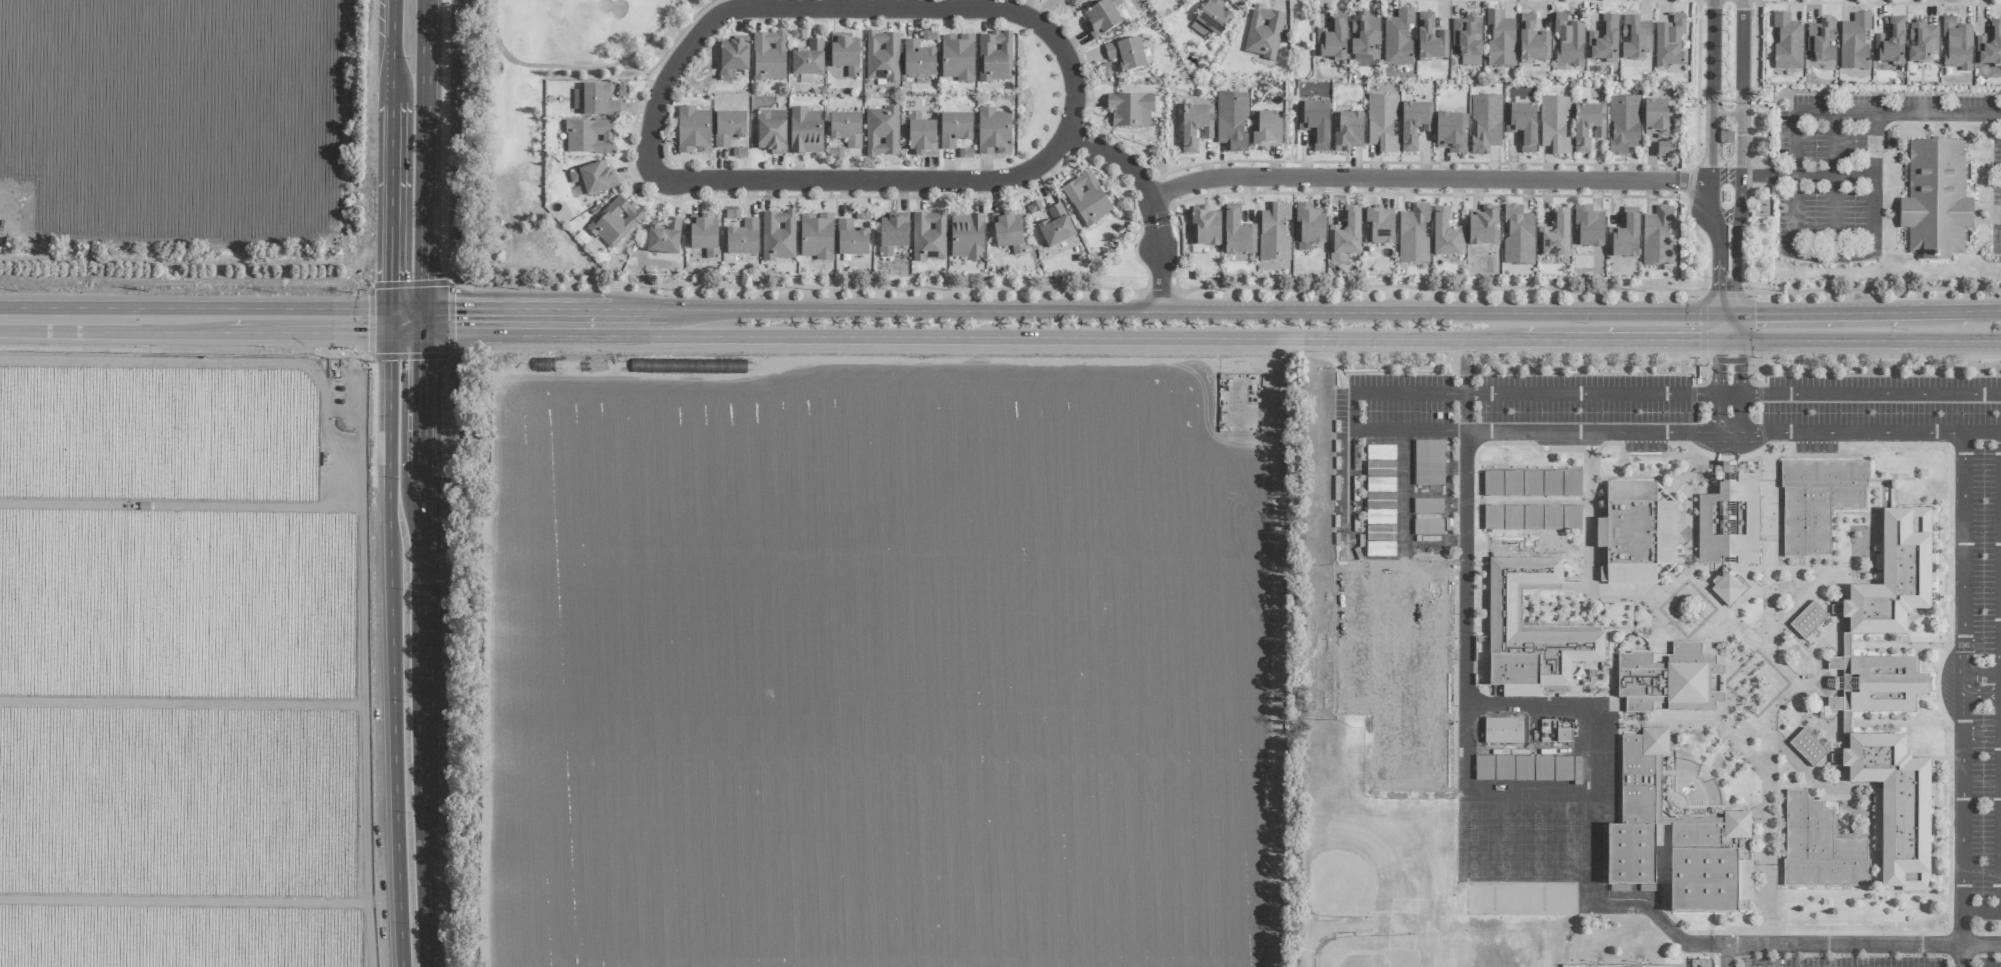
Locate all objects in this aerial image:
road: (850, 0)
road: (856, 1)
building: (1075, 2)
building: (1102, 18)
building: (1212, 19)
building: (1264, 33)
building: (797, 35)
park: (573, 37)
building: (1364, 38)
building: (1398, 38)
building: (1431, 38)
building: (1333, 39)
building: (1468, 39)
building: (1605, 39)
building: (1635, 39)
building: (1501, 40)
building: (1822, 40)
building: (1532, 41)
building: (1568, 41)
building: (1670, 41)
building: (1921, 41)
building: (1788, 42)
building: (1855, 42)
building: (1890, 43)
building: (1956, 45)
building: (1989, 46)
road: (395, 51)
building: (845, 53)
building: (1126, 54)
building: (769, 56)
building: (882, 56)
building: (733, 57)
building: (958, 57)
building: (994, 57)
building: (918, 60)
building: (808, 62)
road: (575, 67)
building: (1106, 71)
road: (1742, 87)
building: (622, 90)
road: (1713, 91)
building: (595, 100)
building: (1130, 110)
road: (1874, 110)
building: (1232, 121)
building: (1382, 123)
building: (1315, 124)
building: (1413, 124)
building: (1485, 124)
building: (1555, 124)
building: (1623, 124)
building: (1522, 126)
building: (1587, 126)
building: (729, 127)
building: (1194, 128)
building: (846, 129)
building: (955, 129)
building: (1265, 129)
building: (1657, 130)
building: (693, 131)
building: (771, 131)
building: (806, 131)
building: (1347, 131)
building: (882, 132)
building: (994, 132)
building: (1450, 132)
building: (921, 135)
building: (589, 136)
road: (444, 153)
building: (834, 153)
building: (965, 154)
road: (424, 164)
parking lot: (1856, 166)
road: (1834, 168)
road: (1826, 173)
road: (1759, 174)
building: (594, 177)
road: (1430, 179)
road: (870, 182)
road: (1741, 189)
building: (1086, 198)
building: (1936, 199)
road: (1153, 202)
building: (1034, 208)
road: (395, 212)
building: (732, 214)
building: (614, 221)
building: (1482, 226)
building: (1055, 227)
building: (1204, 227)
building: (1307, 227)
building: (1378, 227)
building: (1587, 228)
building: (1008, 232)
building: (1237, 232)
building: (893, 233)
building: (1273, 233)
building: (704, 234)
building: (1413, 234)
building: (1445, 234)
building: (778, 235)
building: (1554, 235)
building: (1625, 235)
building: (817, 236)
building: (929, 236)
building: (1344, 236)
building: (1517, 236)
building: (664, 237)
building: (967, 237)
building: (1657, 237)
building: (743, 238)
building: (851, 239)
road: (1719, 248)
road: (1873, 252)
road: (1736, 259)
road: (1225, 286)
traffic signals: (1719, 299)
road: (520, 307)
road: (1173, 310)
road: (1995, 310)
road: (1858, 312)
traffic signals: (1754, 313)
road: (408, 314)
road: (197, 319)
road: (408, 324)
road: (1727, 326)
road: (967, 333)
road: (1620, 338)
traffic signals: (1700, 339)
road: (1864, 339)
traffic signals: (1728, 362)
road: (1466, 364)
road: (1728, 383)
road: (1733, 391)
road: (1466, 409)
road: (1354, 410)
road: (1885, 429)
road: (1982, 430)
building: (1429, 463)
building: (1728, 473)
building: (1532, 484)
building: (1662, 496)
building: (1817, 501)
building: (1604, 508)
road: (1591, 510)
building: (1493, 517)
building: (1729, 522)
building: (1636, 534)
building: (1604, 557)
building: (1728, 567)
building: (1662, 571)
building: (1894, 577)
building: (1727, 586)
crop: (585, 595)
park: (1353, 602)
park: (1390, 602)
park: (1428, 602)
building: (1518, 609)
building: (1808, 620)
building: (1530, 633)
road: (395, 644)
road: (421, 647)
road: (1736, 658)
building: (1659, 659)
road: (2000, 661)
building: (1834, 663)
park: (1353, 676)
park: (1390, 677)
park: (1427, 677)
building: (1669, 680)
road: (1982, 683)
building: (1885, 684)
building: (1845, 687)
road: (2000, 703)
building: (1834, 704)
building: (1659, 707)
building: (1503, 731)
building: (1554, 732)
building: (1808, 747)
park: (1390, 751)
park: (1427, 751)
building: (1503, 767)
building: (1523, 767)
building: (1484, 768)
building: (1543, 768)
building: (1563, 768)
building: (1577, 771)
building: (1657, 779)
road: (1594, 794)
building: (1896, 805)
building: (1471, 810)
building: (1636, 810)
park: (1504, 814)
park: (1536, 814)
park: (1569, 814)
building: (1859, 814)
road: (2000, 817)
building: (1471, 826)
building: (1471, 842)
building: (1819, 847)
park: (1504, 852)
park: (1536, 853)
park: (1569, 853)
road: (1962, 857)
building: (1471, 858)
building: (1711, 865)
building: (1470, 874)
park: (1520, 899)
road: (1981, 910)
road: (1981, 944)
road: (1724, 955)
road: (1962, 955)
building: (1701, 963)

